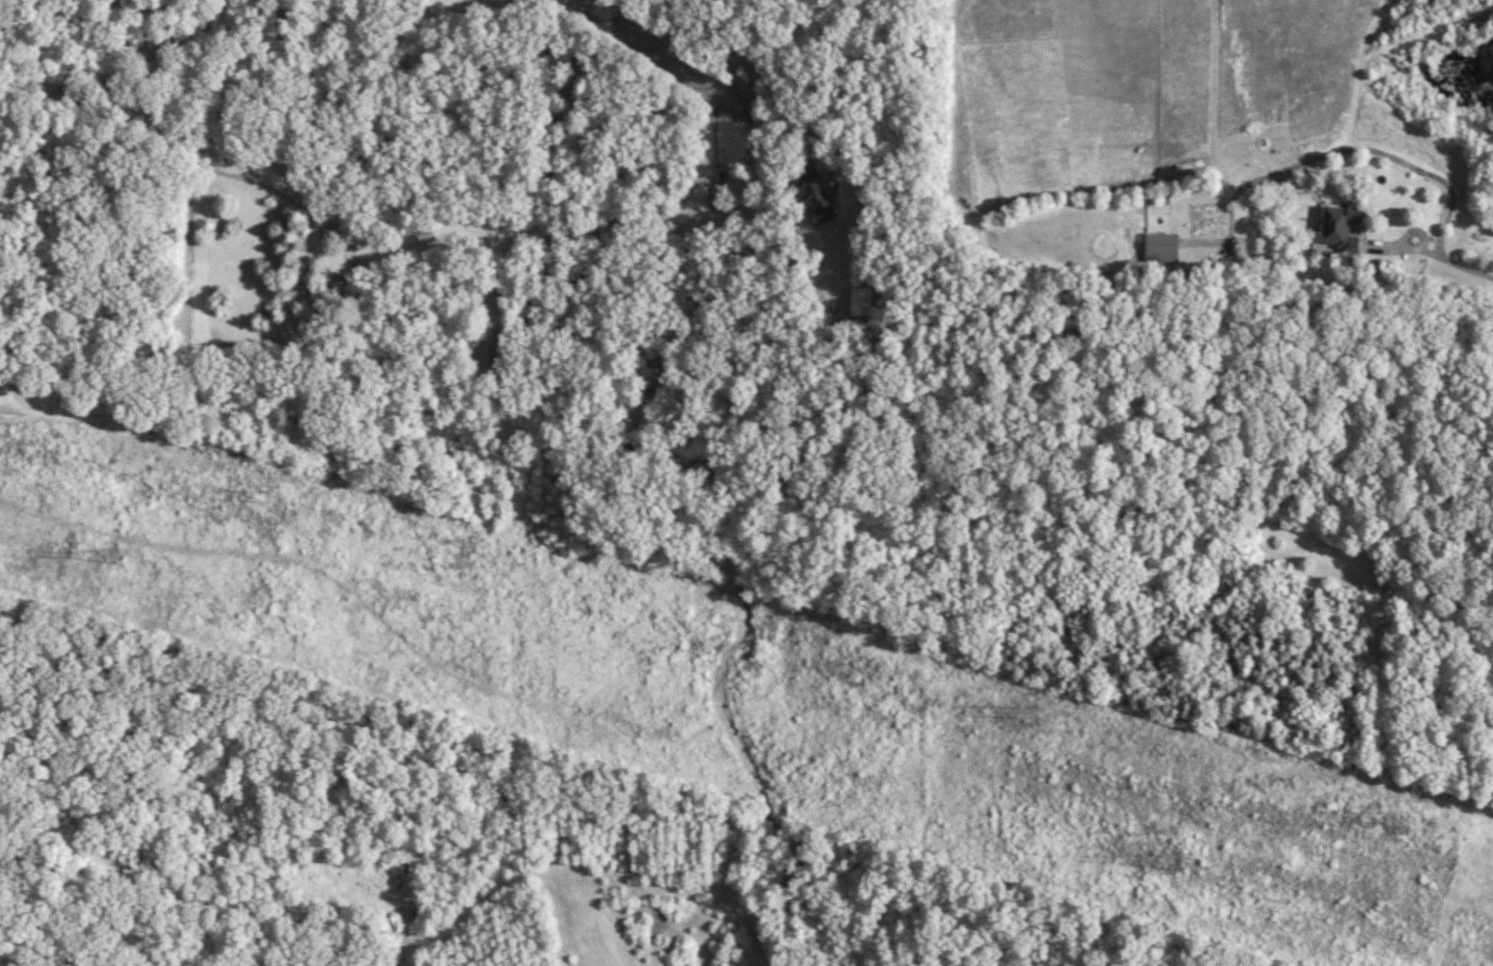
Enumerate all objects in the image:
road: (140, 32)
road: (127, 69)
building: (765, 123)
road: (1349, 148)
building: (816, 199)
building: (1340, 228)
road: (447, 229)
road: (1405, 231)
building: (1163, 248)
road: (1457, 263)
power tower: (268, 493)
power tower: (117, 553)
power tower: (1021, 710)
power tower: (1387, 814)
power tower: (1181, 862)

